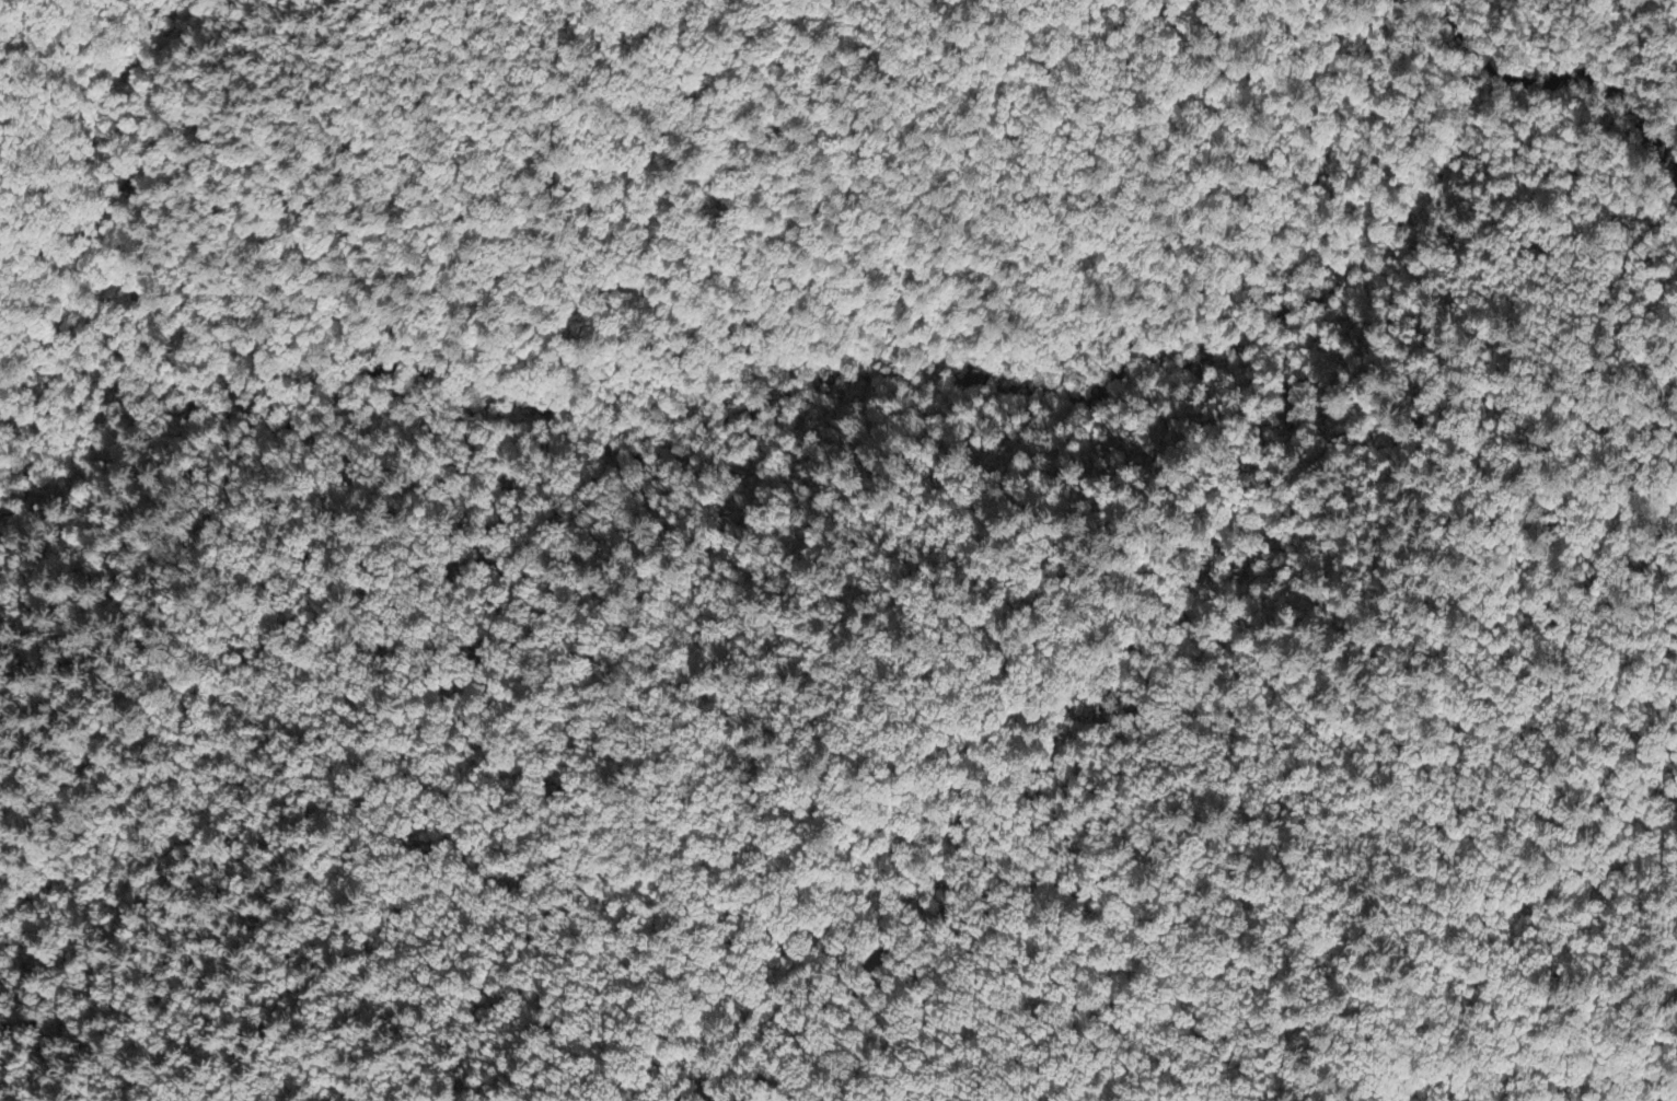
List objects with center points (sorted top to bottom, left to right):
river: (1472, 56)
river: (1616, 108)
road: (1333, 164)
road: (1559, 535)
road: (1634, 1086)

